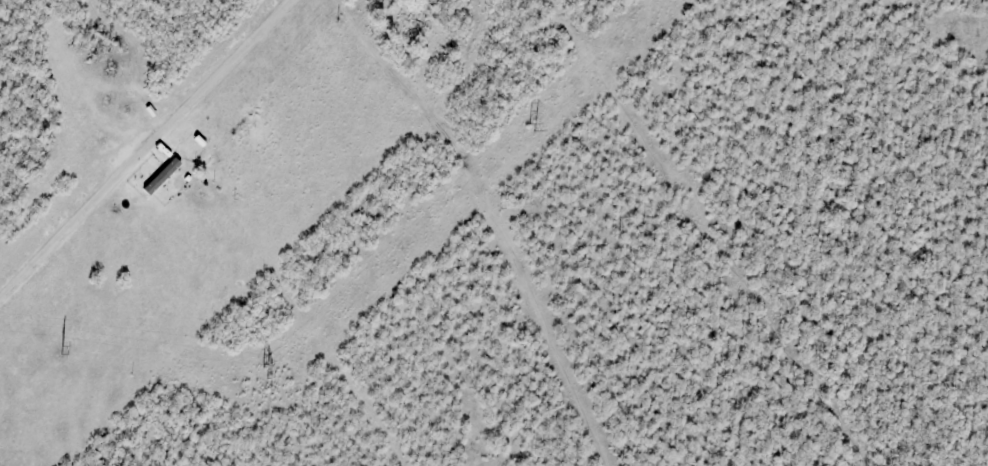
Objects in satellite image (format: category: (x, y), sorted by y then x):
power tower: (538, 128)
road: (144, 151)
road: (494, 216)
power tower: (61, 349)
power tower: (266, 378)

